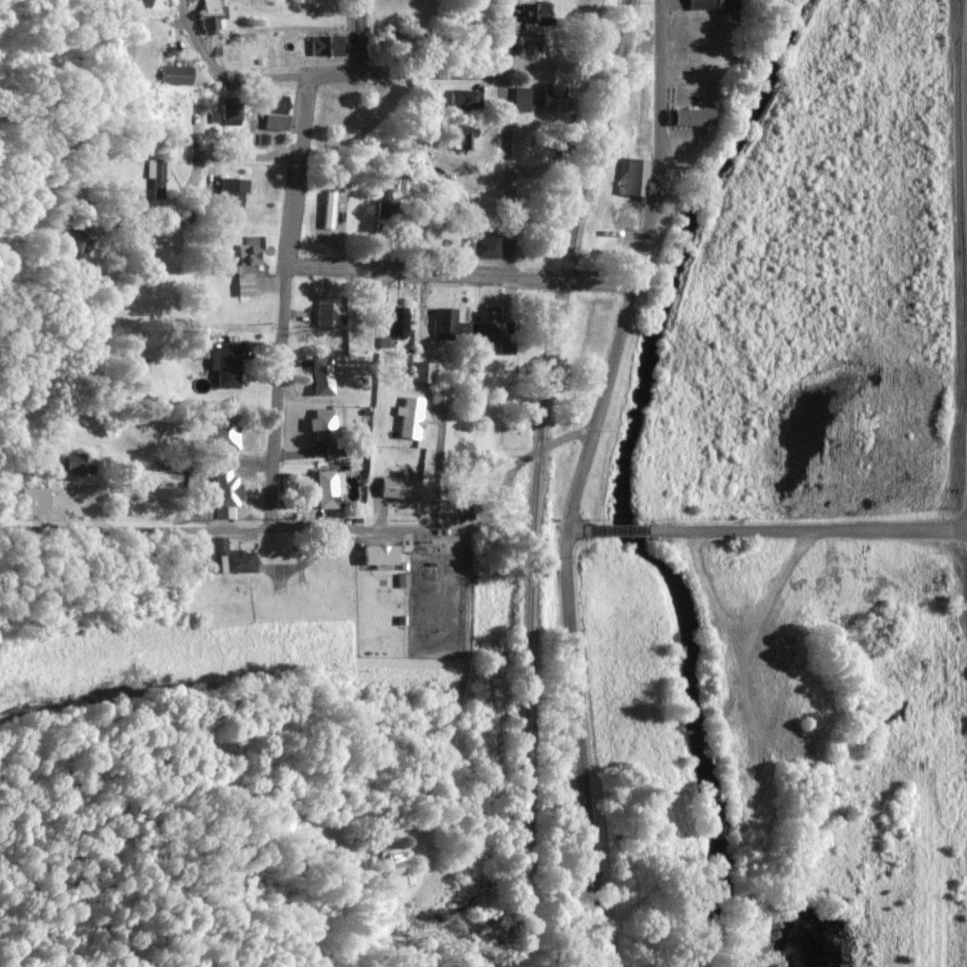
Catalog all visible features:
building: (714, 4)
building: (211, 15)
building: (465, 16)
building: (535, 18)
road: (355, 35)
road: (506, 36)
building: (328, 45)
building: (531, 45)
road: (344, 72)
building: (177, 75)
building: (555, 97)
building: (465, 99)
building: (522, 100)
building: (233, 114)
building: (696, 117)
building: (276, 120)
building: (466, 140)
road: (183, 153)
road: (232, 158)
road: (297, 167)
building: (151, 168)
road: (507, 175)
building: (635, 177)
building: (328, 206)
building: (484, 242)
building: (260, 251)
road: (636, 267)
road: (396, 270)
road: (569, 279)
building: (332, 312)
building: (447, 325)
building: (395, 326)
building: (488, 332)
building: (227, 368)
building: (323, 377)
road: (277, 386)
building: (441, 395)
building: (411, 418)
building: (326, 432)
building: (227, 434)
river: (627, 444)
road: (521, 458)
building: (78, 464)
road: (226, 466)
railway: (537, 479)
building: (400, 488)
building: (329, 489)
building: (228, 494)
road: (269, 520)
road: (374, 526)
road: (134, 528)
road: (768, 528)
building: (381, 555)
building: (239, 560)
building: (730, 670)
road: (580, 747)
building: (391, 860)

